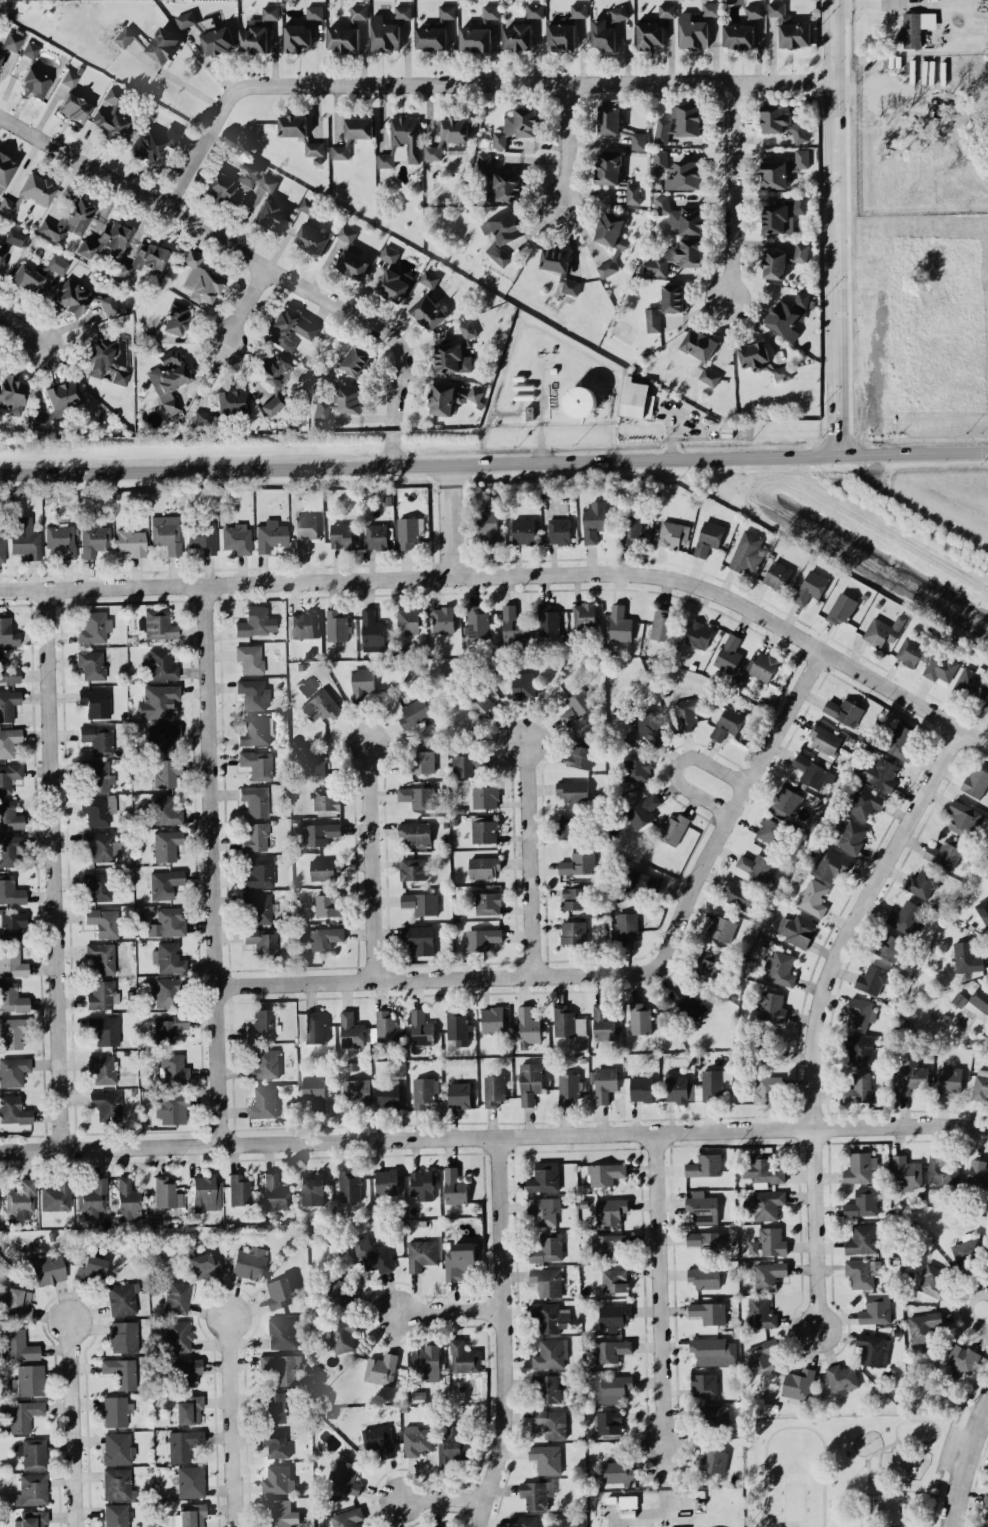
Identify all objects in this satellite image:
building: (709, 9)
building: (578, 10)
building: (666, 10)
building: (446, 11)
building: (534, 11)
building: (753, 11)
building: (314, 12)
building: (358, 12)
building: (402, 12)
building: (490, 12)
building: (618, 13)
building: (185, 19)
building: (790, 27)
building: (916, 27)
building: (257, 31)
building: (692, 32)
building: (384, 34)
building: (602, 35)
building: (649, 35)
building: (561, 36)
building: (739, 36)
building: (124, 37)
building: (297, 37)
building: (517, 37)
building: (431, 38)
building: (343, 39)
building: (475, 39)
building: (217, 40)
building: (11, 41)
building: (162, 45)
building: (30, 49)
building: (0, 55)
building: (69, 78)
road: (181, 81)
building: (35, 83)
road: (468, 86)
building: (112, 97)
building: (74, 107)
building: (608, 119)
building: (688, 120)
building: (781, 122)
building: (293, 125)
building: (112, 126)
building: (516, 126)
building: (358, 127)
building: (662, 130)
building: (454, 133)
building: (406, 138)
building: (638, 140)
building: (153, 143)
road: (568, 148)
building: (313, 149)
building: (340, 152)
building: (432, 153)
building: (801, 158)
building: (660, 159)
building: (385, 160)
building: (5, 170)
building: (248, 174)
building: (614, 175)
building: (685, 175)
building: (775, 175)
building: (497, 180)
building: (267, 184)
building: (218, 186)
building: (37, 189)
road: (133, 192)
road: (732, 193)
building: (7, 205)
building: (307, 205)
building: (783, 215)
building: (681, 216)
building: (269, 217)
building: (68, 219)
road: (841, 225)
building: (346, 234)
building: (502, 235)
building: (16, 237)
building: (114, 238)
building: (311, 239)
building: (610, 241)
building: (85, 248)
building: (801, 251)
building: (2, 254)
building: (675, 257)
building: (143, 259)
building: (57, 264)
building: (352, 264)
building: (774, 264)
building: (560, 268)
building: (25, 275)
building: (392, 277)
building: (428, 279)
building: (200, 280)
building: (72, 297)
building: (672, 298)
building: (108, 305)
road: (247, 306)
building: (428, 312)
building: (788, 315)
building: (175, 318)
building: (652, 319)
road: (22, 322)
building: (289, 328)
building: (467, 329)
road: (386, 333)
building: (151, 335)
building: (699, 344)
building: (99, 354)
building: (754, 355)
building: (451, 358)
building: (356, 360)
building: (327, 369)
building: (782, 373)
building: (709, 376)
building: (120, 377)
building: (169, 379)
building: (274, 379)
building: (62, 394)
building: (12, 395)
building: (449, 398)
building: (346, 399)
building: (636, 399)
building: (231, 401)
building: (580, 401)
building: (320, 410)
building: (202, 418)
building: (39, 421)
road: (494, 459)
road: (453, 486)
building: (593, 521)
building: (630, 528)
building: (523, 530)
building: (558, 531)
building: (305, 532)
building: (166, 533)
building: (408, 533)
building: (673, 534)
building: (270, 535)
building: (341, 535)
building: (376, 536)
building: (202, 537)
building: (236, 538)
building: (708, 538)
building: (60, 539)
building: (94, 540)
building: (131, 542)
road: (454, 543)
building: (25, 544)
building: (1, 547)
building: (748, 552)
road: (515, 574)
building: (777, 575)
building: (810, 587)
building: (841, 608)
building: (583, 614)
building: (443, 620)
building: (547, 620)
building: (408, 621)
building: (255, 622)
building: (477, 622)
building: (157, 624)
building: (619, 624)
building: (661, 624)
building: (305, 625)
building: (337, 626)
building: (93, 627)
building: (512, 628)
building: (882, 630)
building: (371, 631)
building: (7, 633)
building: (699, 634)
building: (909, 651)
building: (728, 654)
building: (249, 658)
building: (91, 664)
building: (161, 664)
building: (762, 666)
building: (940, 668)
building: (8, 670)
building: (972, 682)
building: (362, 684)
building: (522, 685)
building: (306, 687)
building: (253, 694)
building: (157, 701)
building: (95, 702)
building: (8, 704)
building: (579, 704)
building: (986, 705)
building: (321, 706)
building: (843, 711)
building: (414, 712)
building: (686, 714)
building: (728, 723)
building: (649, 727)
building: (255, 730)
building: (161, 737)
building: (98, 739)
building: (824, 739)
building: (9, 741)
building: (900, 742)
building: (579, 756)
building: (422, 761)
building: (312, 763)
building: (256, 764)
road: (677, 764)
building: (464, 766)
building: (636, 769)
building: (166, 772)
building: (812, 772)
building: (881, 774)
building: (9, 776)
building: (97, 776)
building: (976, 782)
building: (572, 790)
building: (417, 797)
building: (484, 797)
building: (255, 800)
building: (326, 801)
building: (785, 802)
building: (864, 802)
building: (98, 809)
building: (160, 811)
building: (643, 811)
building: (10, 815)
building: (962, 818)
building: (567, 828)
building: (673, 829)
building: (770, 830)
building: (484, 831)
building: (414, 832)
building: (317, 833)
building: (849, 835)
building: (255, 837)
building: (166, 845)
building: (101, 846)
building: (10, 849)
building: (944, 853)
road: (530, 856)
building: (578, 863)
road: (211, 864)
road: (372, 864)
building: (830, 864)
building: (757, 866)
building: (483, 867)
road: (56, 869)
building: (324, 869)
building: (412, 869)
building: (259, 872)
building: (165, 883)
building: (641, 883)
building: (923, 883)
building: (97, 885)
building: (10, 890)
building: (738, 895)
building: (813, 897)
building: (574, 898)
building: (420, 903)
building: (327, 905)
building: (258, 906)
building: (983, 910)
building: (907, 917)
road: (854, 919)
building: (102, 921)
building: (167, 922)
building: (11, 926)
building: (626, 926)
building: (721, 928)
building: (796, 929)
building: (573, 932)
building: (323, 936)
building: (419, 939)
building: (481, 939)
building: (261, 941)
building: (887, 946)
building: (101, 957)
building: (168, 957)
building: (966, 957)
building: (12, 962)
building: (707, 963)
building: (779, 968)
road: (618, 972)
building: (871, 979)
building: (164, 992)
building: (102, 994)
building: (11, 998)
building: (978, 1000)
building: (688, 1002)
building: (770, 1007)
building: (860, 1013)
building: (639, 1019)
building: (492, 1020)
building: (566, 1022)
building: (602, 1022)
building: (262, 1025)
building: (314, 1027)
building: (384, 1027)
building: (457, 1027)
building: (527, 1027)
building: (168, 1028)
building: (420, 1028)
building: (105, 1029)
building: (350, 1030)
building: (12, 1032)
building: (859, 1049)
building: (769, 1056)
building: (264, 1064)
building: (101, 1068)
building: (173, 1068)
building: (13, 1070)
building: (911, 1076)
building: (948, 1080)
building: (530, 1082)
building: (604, 1083)
building: (980, 1085)
building: (699, 1086)
building: (568, 1088)
building: (641, 1088)
building: (766, 1089)
building: (857, 1089)
building: (493, 1090)
building: (314, 1091)
building: (356, 1092)
building: (424, 1092)
building: (388, 1094)
building: (459, 1095)
building: (263, 1103)
building: (106, 1104)
building: (171, 1108)
building: (13, 1110)
road: (900, 1125)
road: (406, 1140)
building: (705, 1166)
building: (860, 1168)
building: (942, 1170)
building: (762, 1171)
building: (906, 1173)
building: (605, 1174)
building: (978, 1175)
building: (544, 1177)
building: (386, 1181)
building: (423, 1183)
building: (348, 1186)
building: (454, 1187)
building: (311, 1189)
building: (238, 1190)
building: (273, 1192)
building: (166, 1193)
building: (206, 1193)
building: (55, 1195)
building: (92, 1198)
building: (20, 1200)
building: (127, 1200)
building: (862, 1203)
building: (764, 1205)
building: (702, 1207)
building: (542, 1211)
building: (610, 1211)
road: (815, 1230)
building: (704, 1239)
building: (862, 1239)
building: (772, 1242)
building: (607, 1245)
building: (753, 1247)
building: (547, 1248)
building: (964, 1251)
building: (372, 1253)
building: (421, 1254)
building: (459, 1261)
building: (249, 1262)
building: (203, 1265)
building: (47, 1268)
building: (91, 1268)
building: (862, 1272)
building: (768, 1275)
building: (704, 1277)
building: (614, 1280)
building: (932, 1280)
building: (549, 1282)
road: (659, 1288)
building: (338, 1290)
building: (279, 1292)
building: (177, 1296)
building: (121, 1299)
building: (18, 1302)
building: (876, 1308)
road: (964, 1309)
road: (449, 1311)
building: (708, 1312)
building: (760, 1313)
building: (614, 1316)
building: (551, 1317)
building: (923, 1326)
building: (282, 1332)
road: (503, 1334)
building: (178, 1335)
building: (123, 1336)
building: (340, 1336)
building: (18, 1345)
building: (873, 1349)
building: (610, 1350)
building: (713, 1351)
building: (550, 1354)
building: (762, 1354)
building: (463, 1357)
building: (962, 1359)
building: (426, 1362)
building: (282, 1368)
building: (380, 1369)
building: (121, 1371)
building: (187, 1371)
building: (841, 1378)
building: (28, 1380)
building: (704, 1384)
building: (798, 1384)
building: (546, 1388)
building: (614, 1388)
building: (273, 1407)
building: (188, 1410)
building: (114, 1411)
building: (715, 1413)
building: (22, 1414)
road: (233, 1422)
building: (609, 1422)
building: (551, 1423)
road: (73, 1424)
building: (378, 1439)
building: (416, 1440)
building: (275, 1443)
building: (182, 1444)
building: (452, 1445)
building: (117, 1448)
building: (31, 1453)
building: (546, 1458)
building: (713, 1460)
road: (966, 1465)
building: (617, 1473)
road: (664, 1476)
building: (344, 1478)
building: (278, 1480)
building: (117, 1484)
building: (31, 1489)
building: (535, 1494)
road: (445, 1497)
building: (628, 1501)
building: (985, 1504)
building: (280, 1513)
building: (116, 1515)
building: (192, 1515)
building: (347, 1518)
building: (31, 1519)
building: (523, 1521)
building: (440, 1526)

